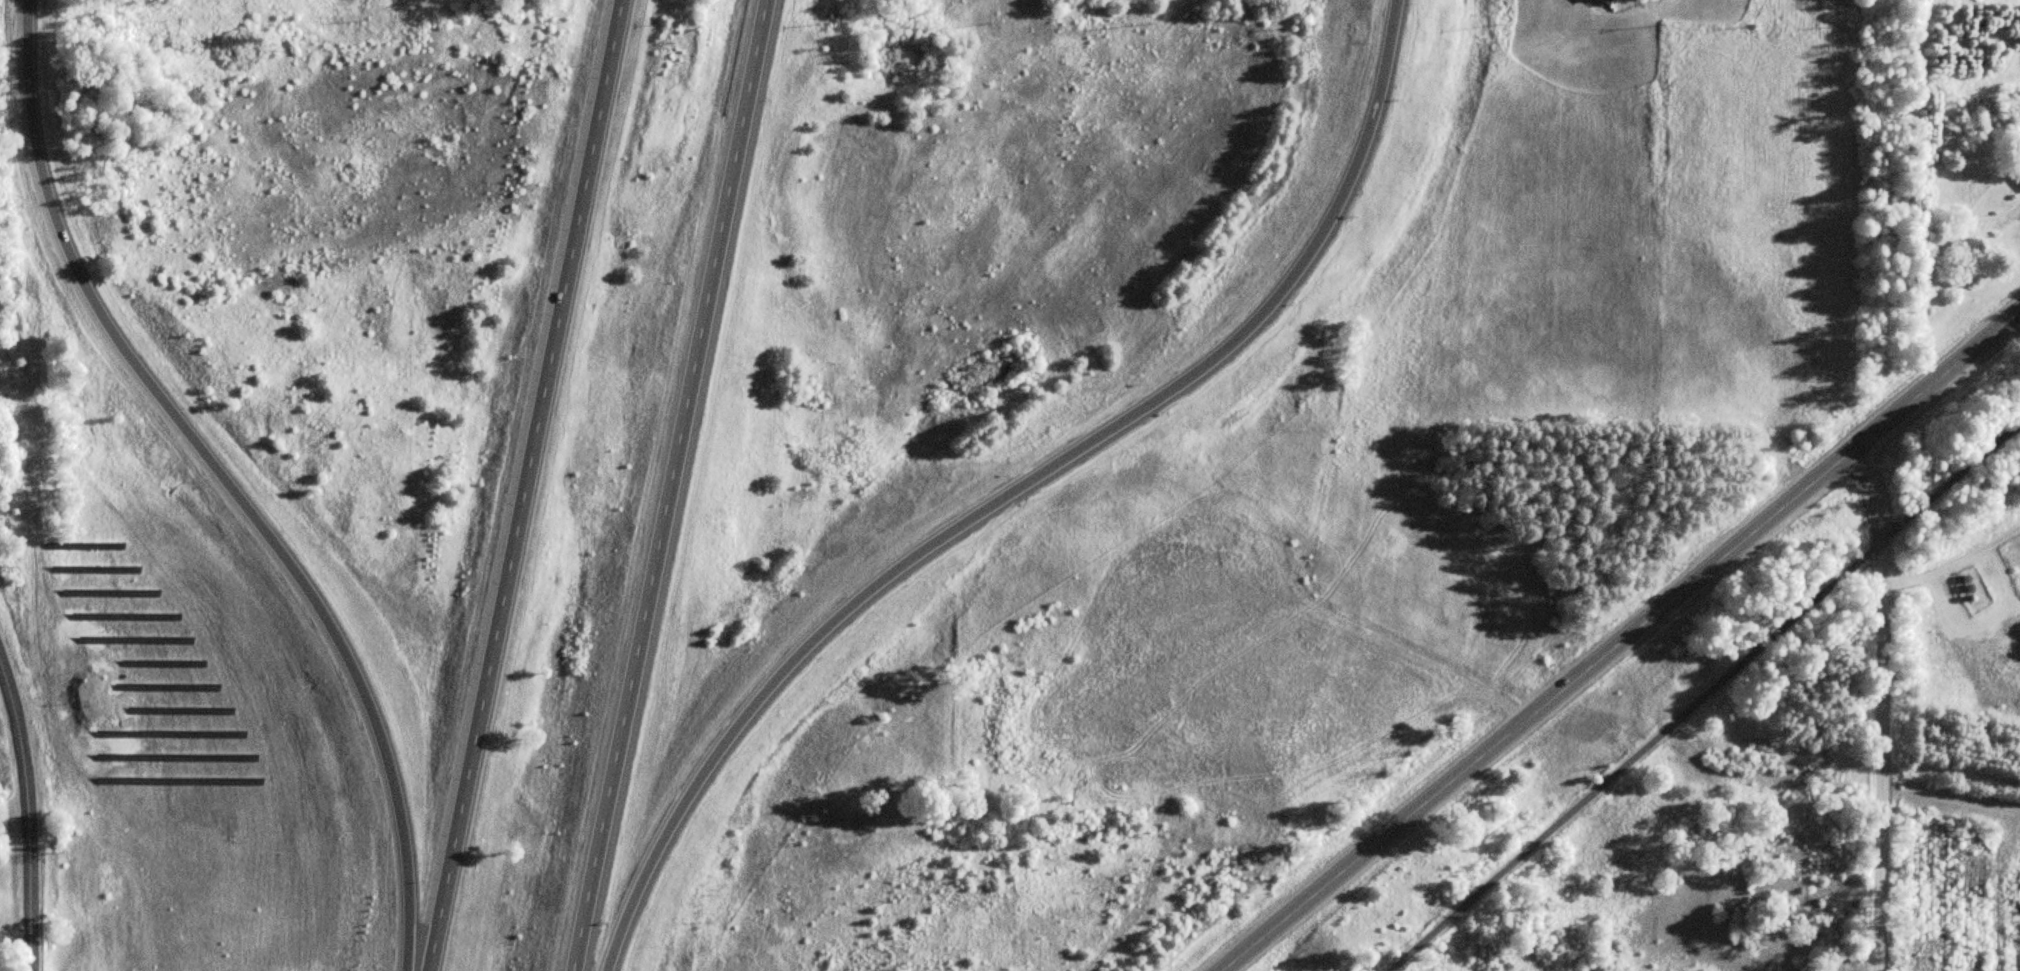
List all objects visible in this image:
building: (1616, 0)
building: (2018, 179)
building: (2007, 219)
road: (226, 481)
road: (525, 485)
road: (668, 485)
road: (1015, 489)
road: (1936, 570)
road: (1623, 641)
road: (1698, 699)
road: (1882, 706)
building: (1035, 710)
road: (22, 825)

